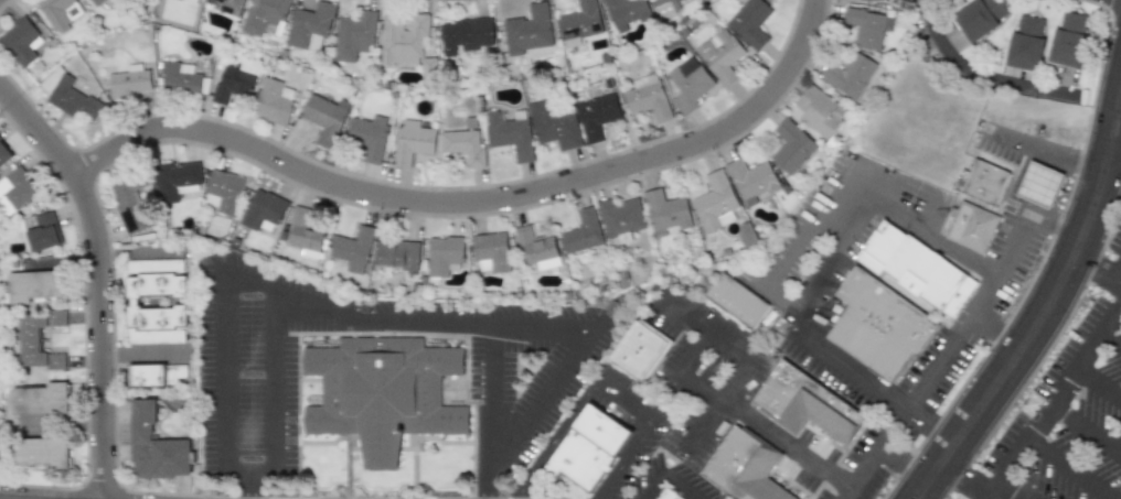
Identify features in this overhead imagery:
building: (192, 1)
building: (96, 2)
building: (228, 7)
building: (664, 8)
building: (626, 12)
building: (60, 13)
building: (264, 14)
building: (980, 17)
building: (749, 22)
building: (580, 23)
building: (310, 26)
building: (865, 28)
building: (529, 30)
building: (466, 35)
building: (354, 36)
building: (1069, 39)
building: (403, 40)
building: (21, 42)
building: (1025, 43)
building: (720, 56)
building: (848, 76)
road: (983, 76)
building: (179, 78)
building: (129, 80)
building: (233, 84)
building: (688, 85)
building: (68, 96)
building: (648, 97)
building: (271, 104)
building: (819, 111)
building: (597, 116)
building: (325, 118)
building: (554, 124)
road: (1118, 132)
building: (510, 133)
building: (369, 135)
building: (413, 141)
building: (463, 147)
building: (791, 147)
building: (4, 154)
road: (1048, 154)
building: (751, 180)
building: (174, 181)
building: (1039, 185)
building: (997, 188)
building: (15, 192)
building: (223, 192)
building: (715, 200)
road: (474, 202)
building: (130, 205)
building: (263, 209)
building: (666, 210)
building: (620, 216)
road: (1049, 225)
building: (975, 229)
building: (583, 232)
building: (43, 234)
building: (305, 234)
building: (746, 236)
building: (534, 246)
road: (947, 247)
building: (353, 249)
building: (490, 252)
road: (831, 253)
building: (397, 254)
building: (444, 254)
building: (920, 271)
road: (1098, 272)
road: (102, 275)
road: (1120, 285)
building: (33, 286)
building: (736, 300)
building: (160, 305)
road: (1045, 315)
road: (381, 316)
road: (797, 322)
building: (885, 328)
road: (709, 329)
road: (996, 336)
road: (1111, 336)
building: (39, 339)
road: (951, 346)
building: (639, 350)
road: (682, 373)
building: (159, 380)
road: (1098, 386)
road: (270, 390)
road: (487, 393)
building: (384, 394)
road: (1055, 395)
building: (41, 400)
road: (719, 405)
building: (1037, 406)
building: (810, 409)
road: (1086, 427)
road: (642, 434)
road: (555, 441)
road: (786, 443)
building: (154, 446)
building: (590, 449)
building: (41, 452)
road: (879, 455)
building: (748, 469)
road: (1068, 469)
road: (670, 477)
road: (964, 479)
building: (670, 495)
road: (993, 495)

